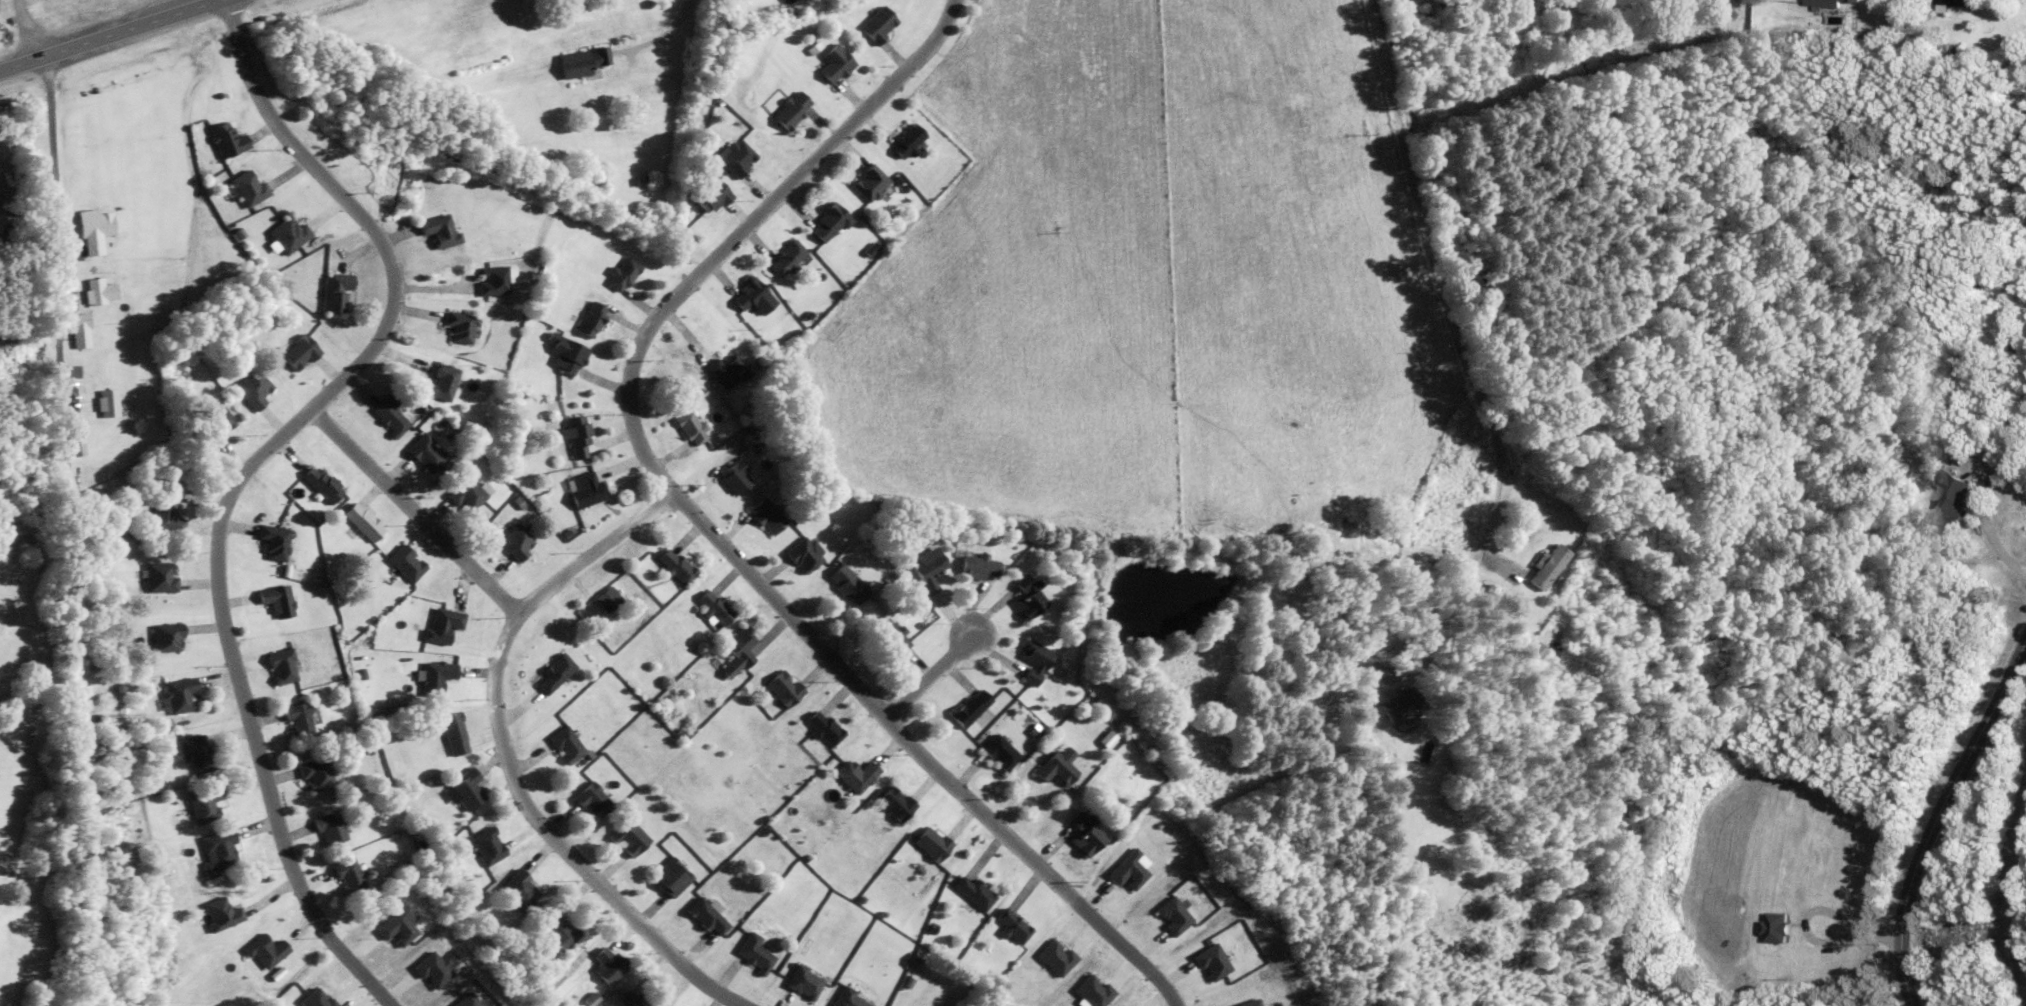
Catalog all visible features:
building: (1656, 2)
building: (1827, 2)
building: (1958, 2)
building: (876, 23)
road: (19, 30)
road: (112, 34)
road: (657, 38)
building: (581, 61)
building: (831, 63)
building: (788, 109)
building: (227, 139)
building: (904, 140)
building: (734, 157)
building: (594, 180)
building: (866, 181)
building: (248, 188)
building: (706, 195)
building: (824, 223)
building: (99, 230)
building: (437, 230)
building: (288, 233)
road: (58, 234)
building: (783, 257)
building: (492, 279)
building: (333, 290)
building: (99, 291)
building: (749, 296)
building: (589, 319)
building: (460, 326)
building: (84, 330)
road: (1462, 349)
building: (296, 352)
building: (563, 354)
building: (723, 370)
building: (441, 381)
building: (252, 387)
building: (388, 416)
building: (214, 422)
building: (689, 428)
building: (574, 436)
building: (429, 454)
road: (246, 471)
building: (732, 475)
building: (319, 483)
building: (581, 490)
building: (463, 495)
building: (1946, 497)
road: (414, 510)
building: (763, 515)
building: (165, 517)
building: (359, 520)
road: (1984, 520)
road: (702, 524)
building: (272, 541)
building: (511, 541)
building: (802, 555)
building: (402, 563)
building: (670, 566)
building: (974, 566)
building: (924, 569)
building: (161, 577)
building: (844, 583)
building: (1026, 597)
building: (273, 600)
building: (710, 607)
building: (437, 624)
building: (890, 635)
building: (167, 636)
building: (733, 651)
building: (1528, 651)
building: (1034, 660)
building: (277, 666)
building: (548, 674)
road: (932, 675)
building: (430, 676)
building: (781, 687)
building: (176, 695)
building: (1395, 705)
building: (968, 707)
building: (293, 719)
building: (821, 727)
building: (447, 733)
building: (560, 745)
building: (998, 752)
building: (197, 754)
road: (505, 760)
building: (1052, 768)
building: (310, 774)
building: (854, 774)
building: (461, 788)
building: (588, 799)
building: (201, 803)
building: (892, 803)
road: (1938, 814)
building: (326, 827)
building: (1080, 833)
building: (625, 836)
building: (927, 843)
building: (486, 845)
building: (215, 849)
building: (347, 876)
building: (668, 876)
building: (518, 890)
building: (970, 891)
building: (217, 913)
building: (703, 916)
building: (1011, 926)
building: (552, 930)
building: (262, 951)
building: (750, 952)
building: (605, 964)
building: (800, 981)
building: (847, 998)

